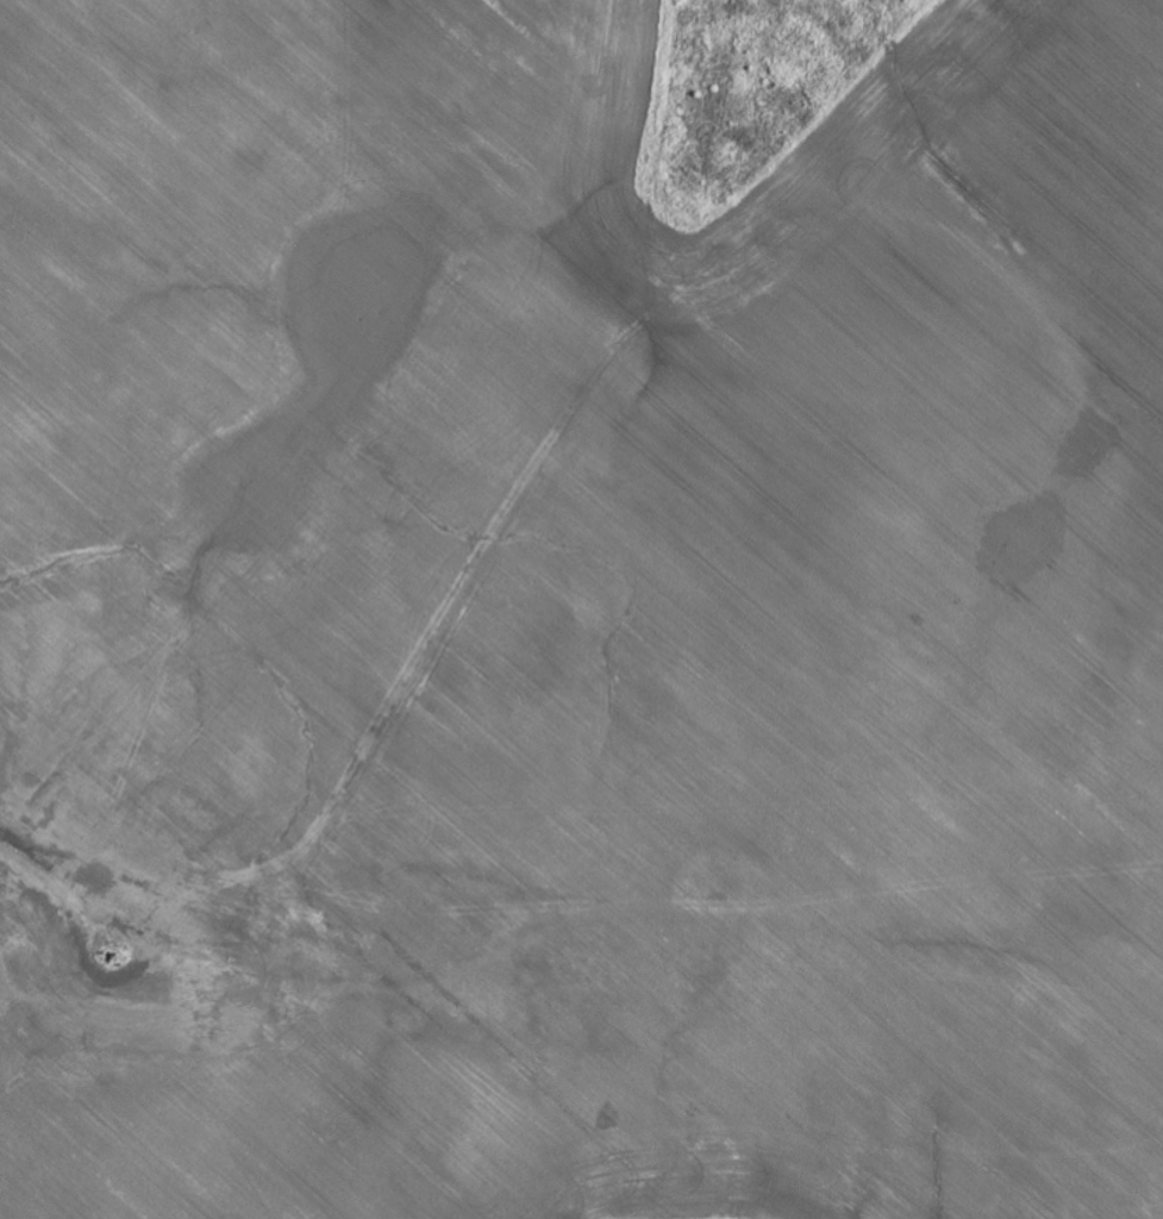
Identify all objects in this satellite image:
road: (264, 974)

